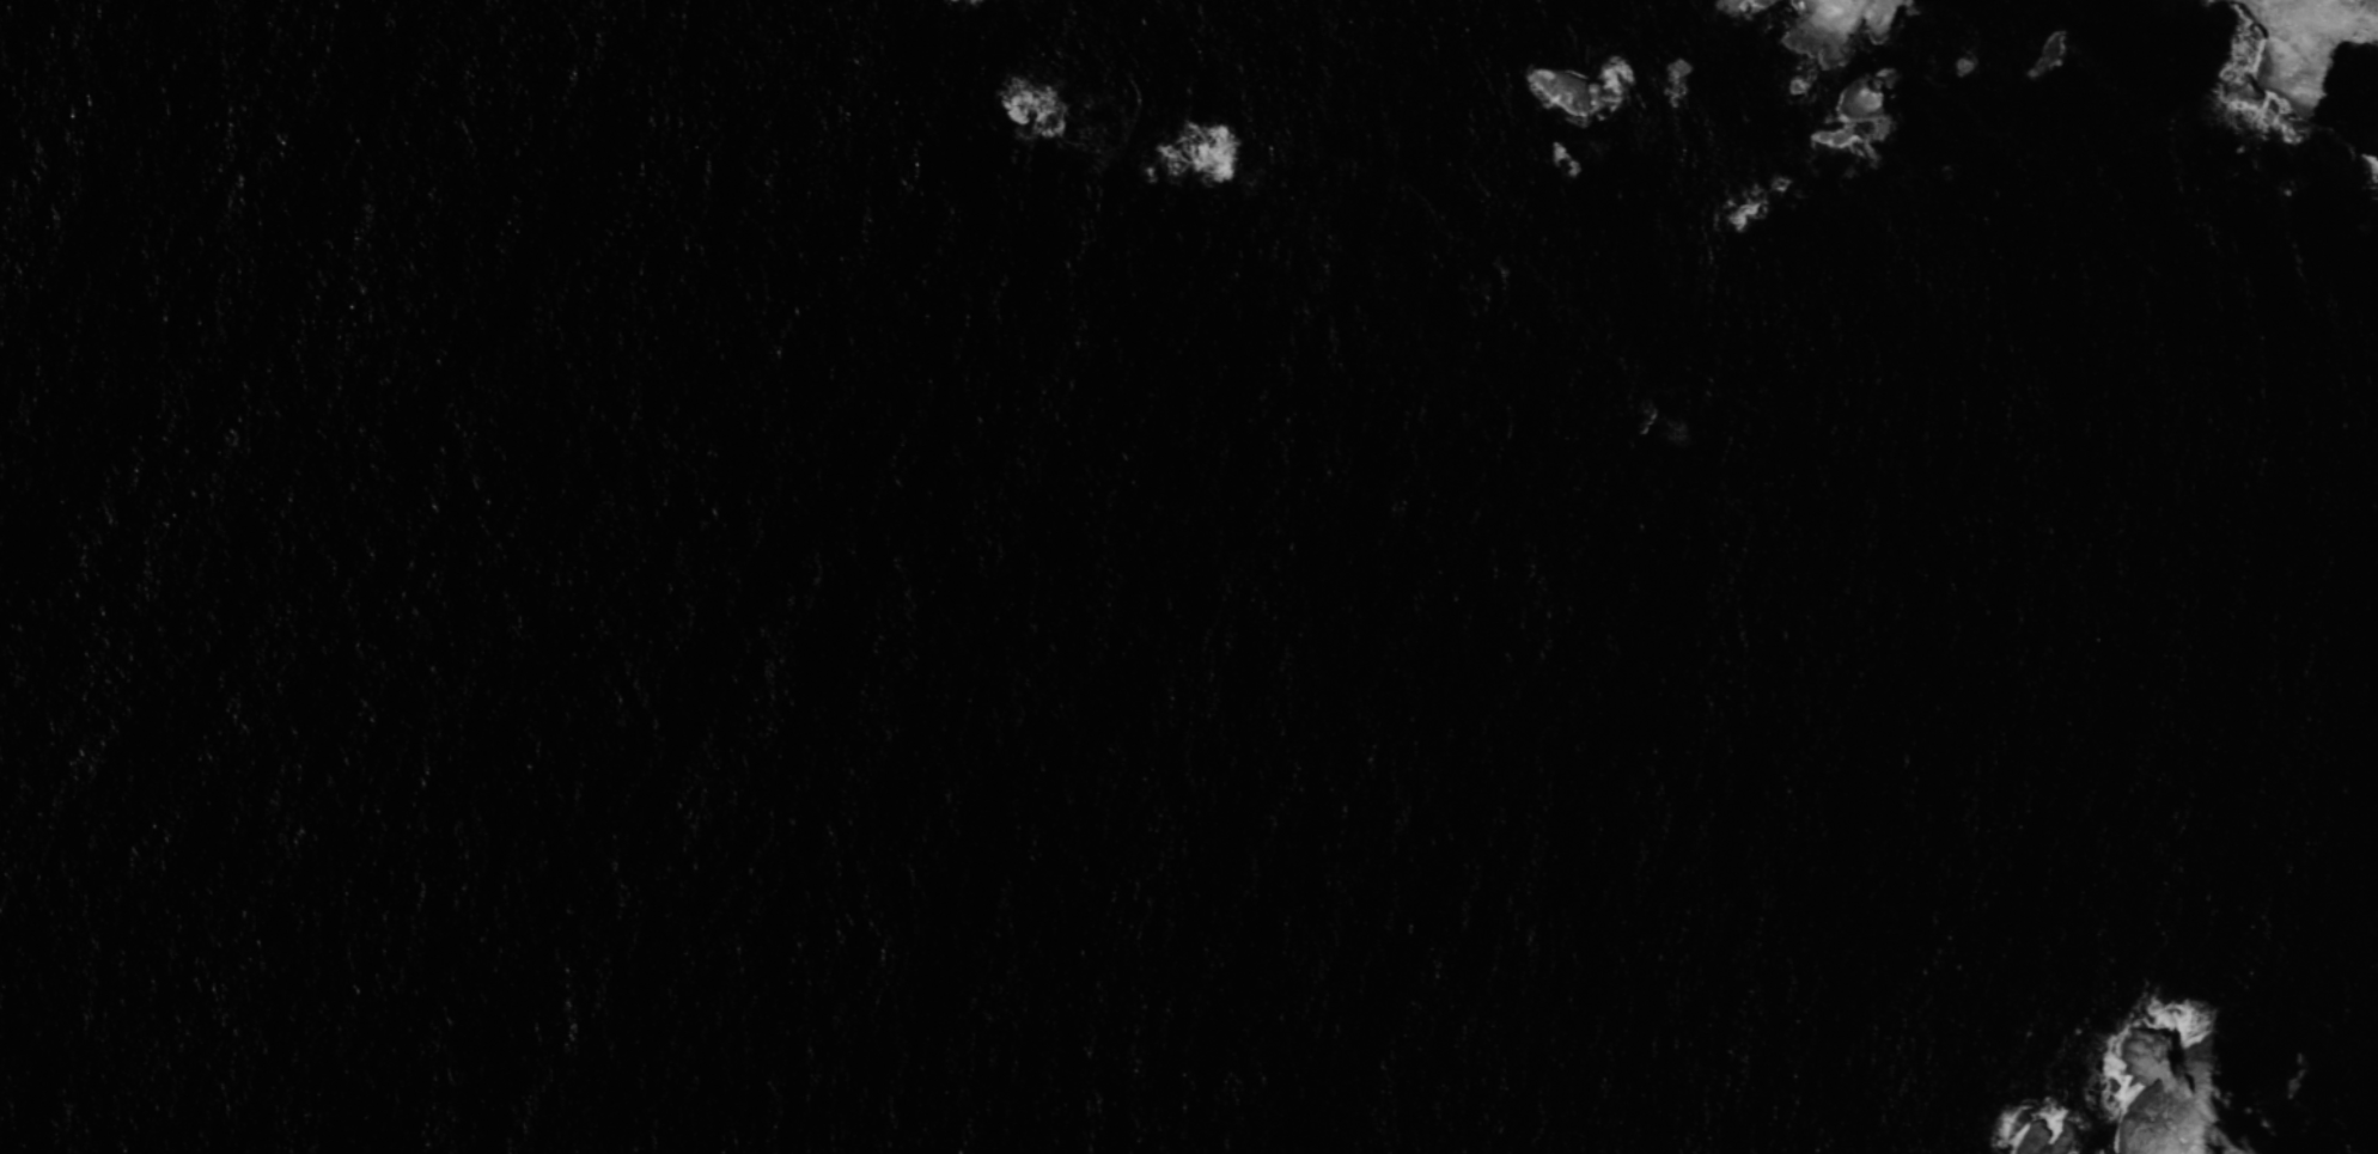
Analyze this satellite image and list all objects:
park: (2307, 44)

